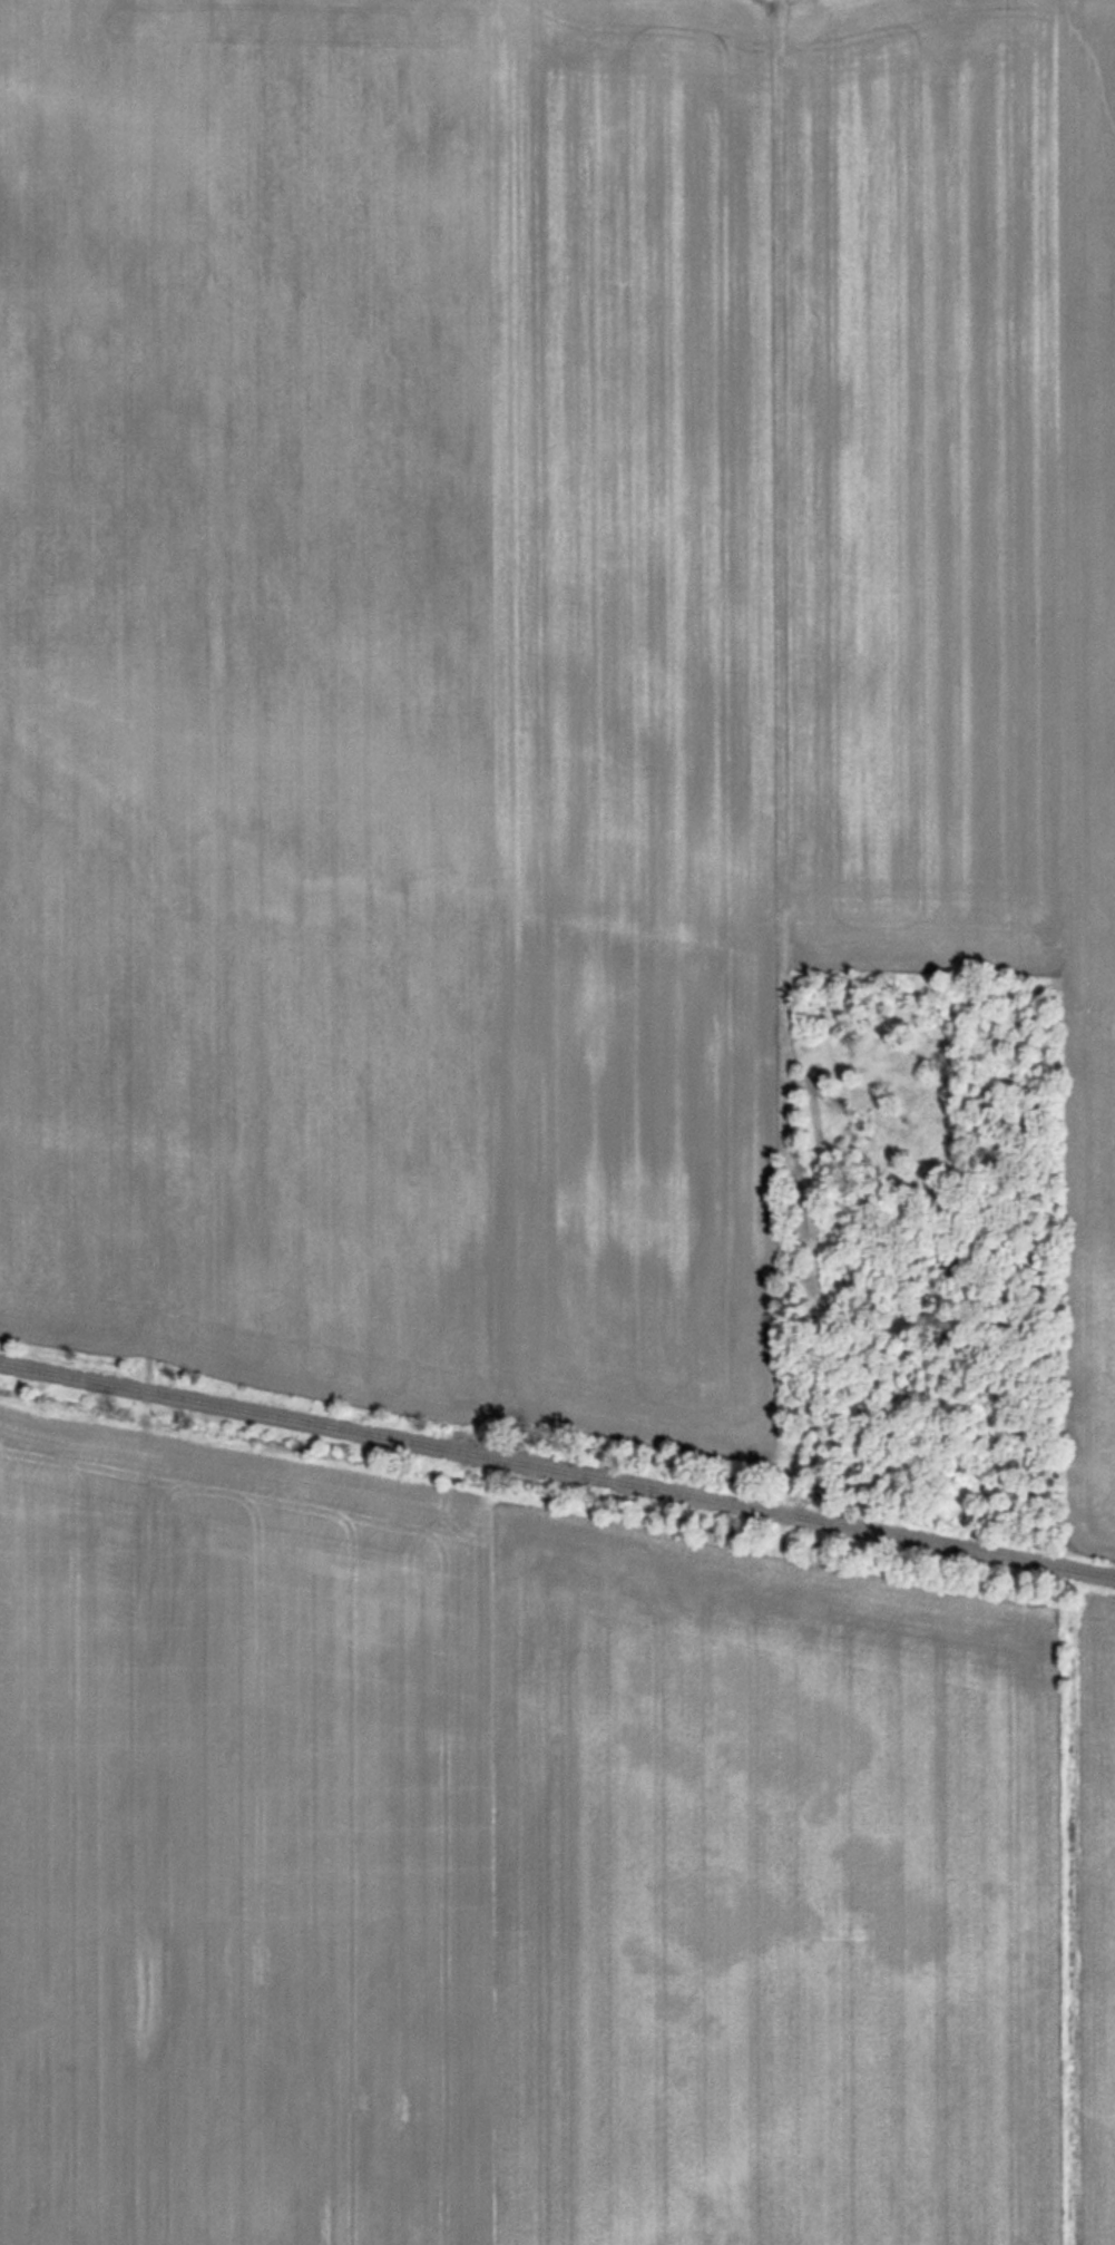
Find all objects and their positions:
railway: (557, 1471)

